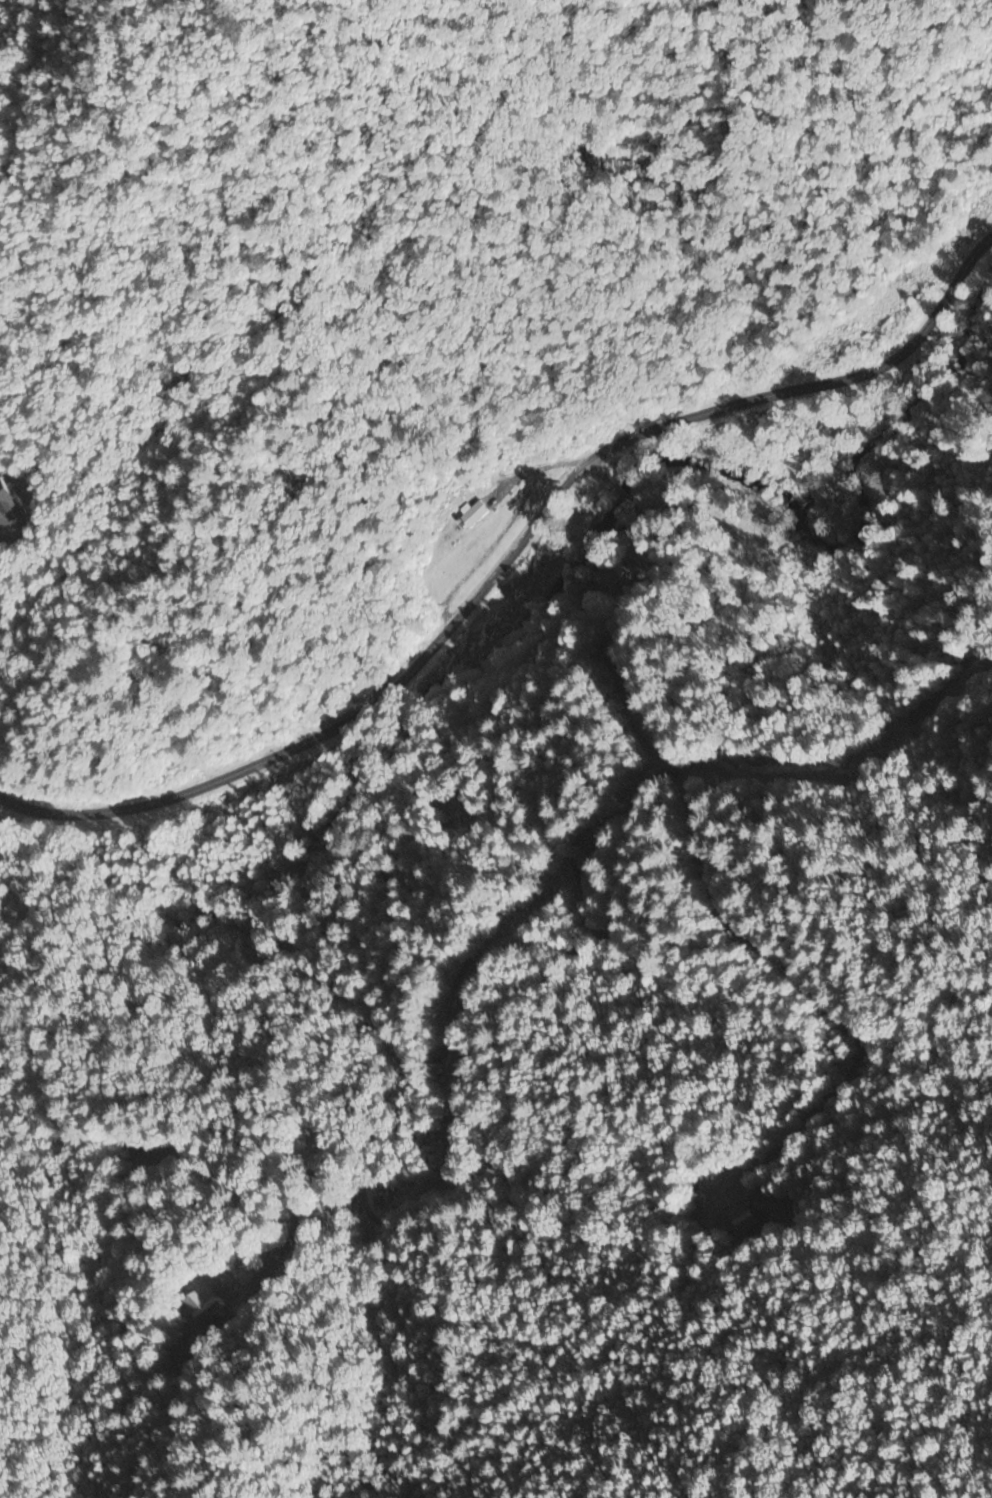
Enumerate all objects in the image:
building: (9, 507)
building: (472, 513)
road: (511, 551)
building: (612, 575)
building: (743, 1218)
building: (205, 1302)

